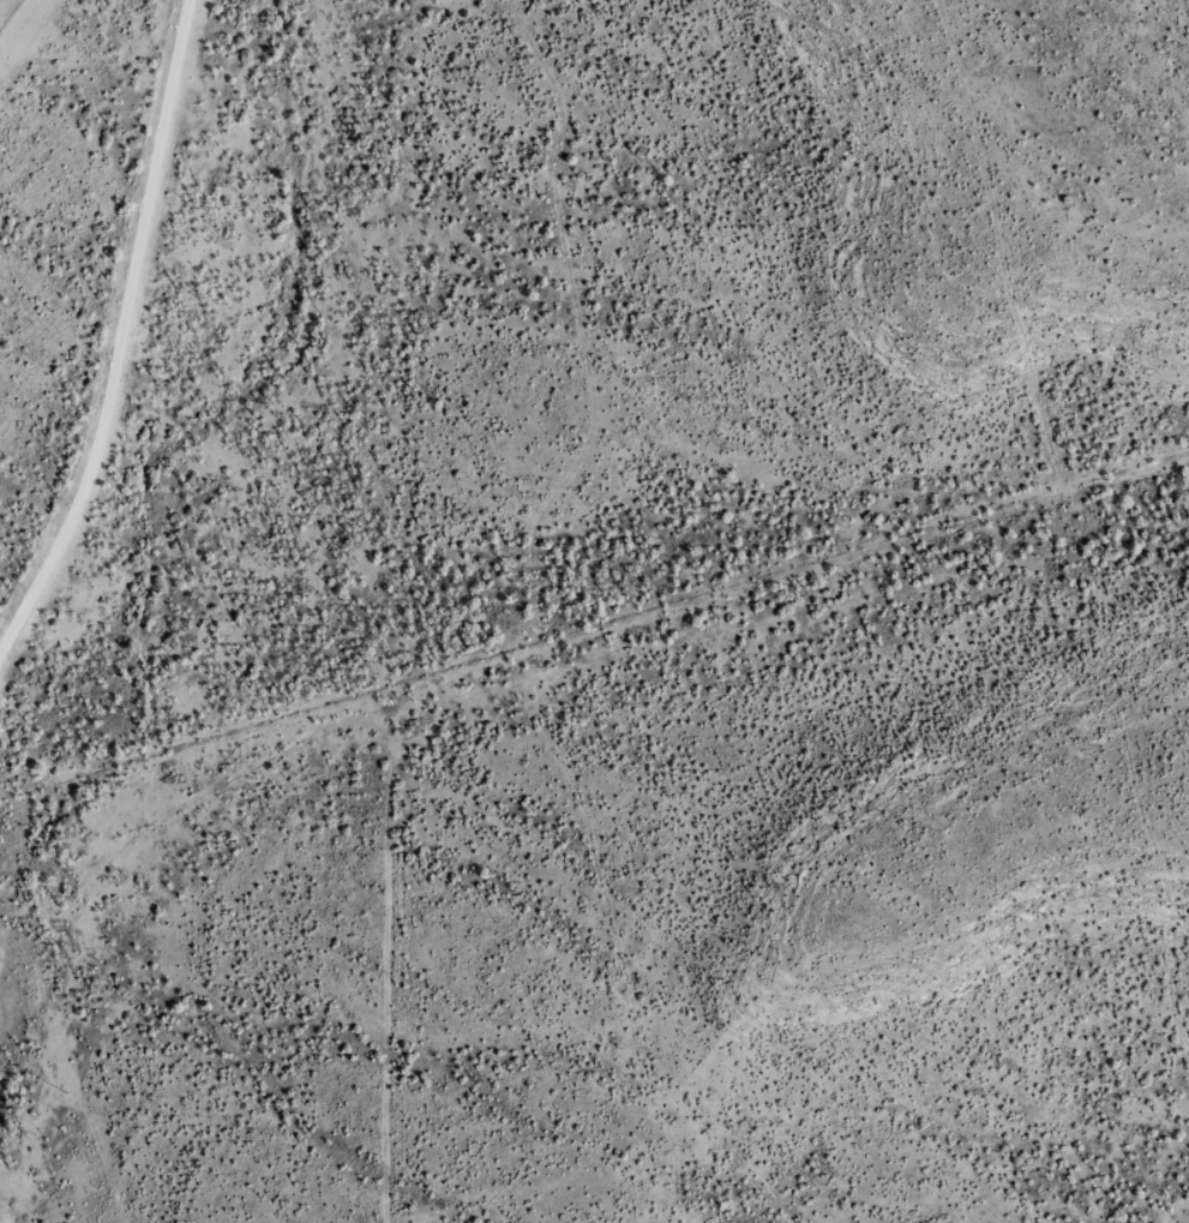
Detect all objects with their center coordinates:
road: (90, 298)

